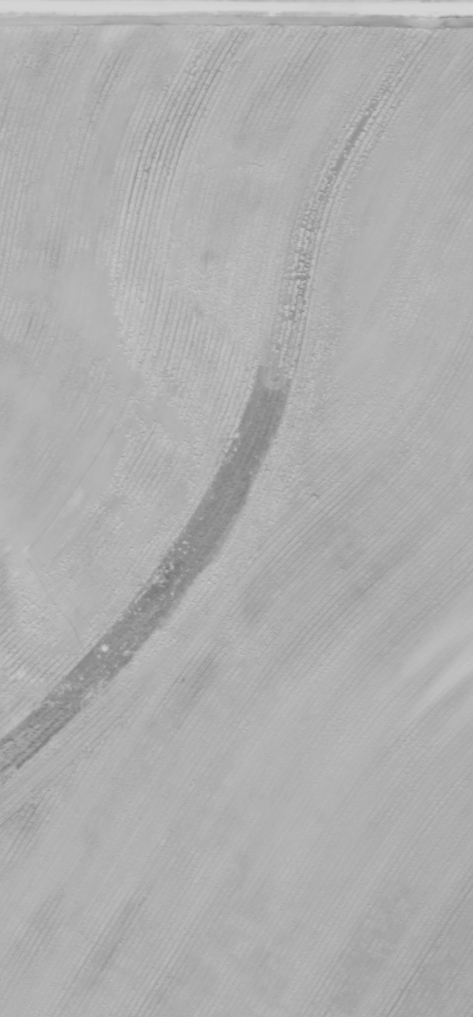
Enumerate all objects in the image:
road: (236, 9)

